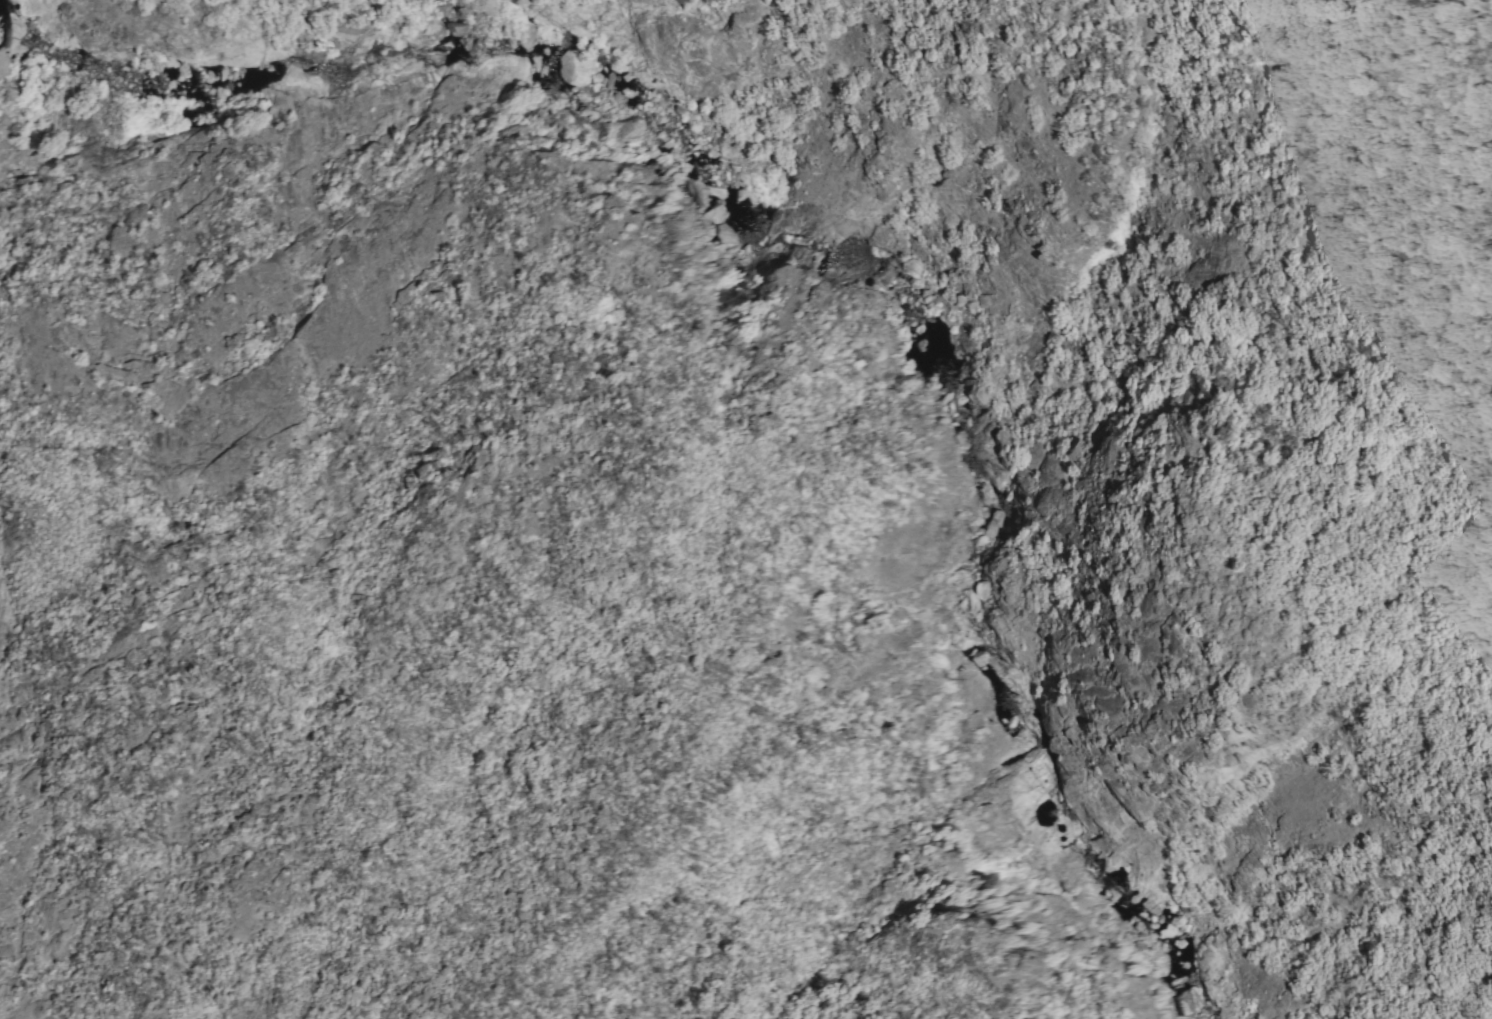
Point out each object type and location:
river: (517, 81)
river: (996, 715)

